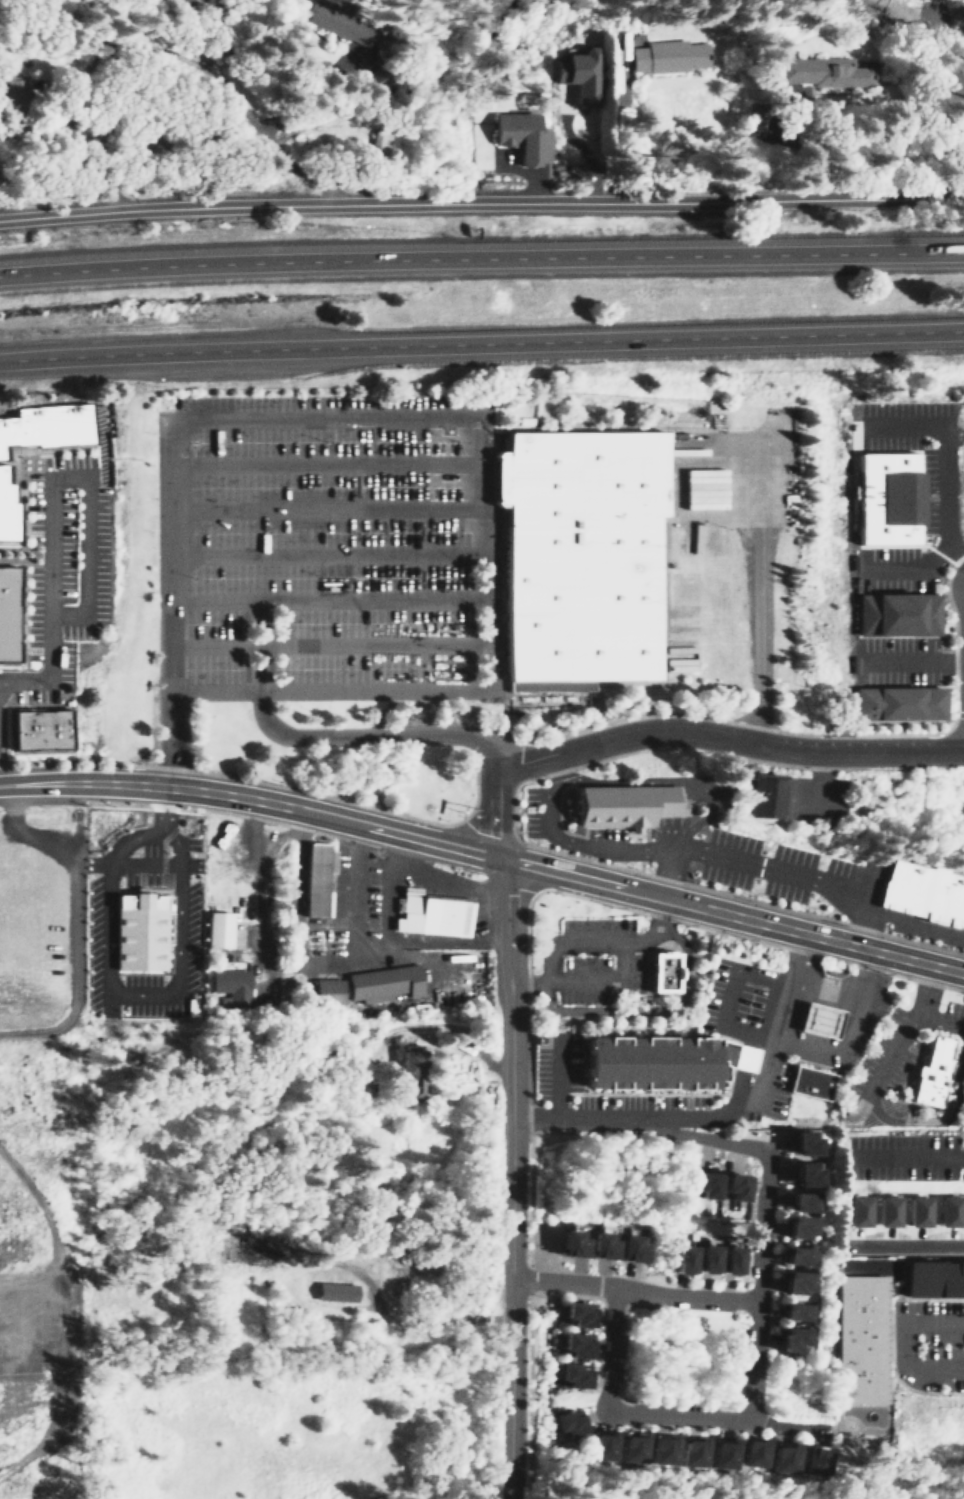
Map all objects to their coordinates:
building: (336, 20)
road: (162, 31)
building: (669, 55)
building: (825, 71)
building: (578, 74)
building: (15, 90)
building: (519, 135)
road: (481, 201)
road: (481, 255)
road: (481, 345)
road: (451, 416)
building: (42, 426)
road: (946, 454)
road: (321, 463)
road: (86, 476)
building: (887, 501)
road: (322, 508)
building: (6, 509)
parking lot: (316, 543)
road: (323, 552)
building: (576, 554)
road: (909, 567)
road: (755, 594)
road: (324, 597)
building: (9, 613)
building: (898, 615)
road: (910, 663)
road: (259, 672)
road: (48, 673)
building: (908, 702)
road: (374, 724)
building: (36, 729)
road: (727, 733)
road: (172, 744)
road: (557, 762)
road: (683, 784)
building: (764, 794)
road: (250, 798)
building: (884, 800)
building: (622, 803)
road: (495, 807)
road: (580, 846)
road: (794, 876)
building: (314, 877)
building: (919, 890)
road: (730, 914)
building: (433, 916)
road: (911, 921)
building: (138, 930)
building: (217, 930)
road: (654, 930)
road: (565, 944)
parking lot: (599, 962)
building: (661, 972)
building: (384, 985)
road: (608, 985)
building: (233, 986)
road: (527, 987)
building: (328, 990)
road: (110, 991)
road: (726, 997)
parking lot: (736, 1001)
building: (193, 1006)
road: (647, 1011)
building: (814, 1020)
gas station: (814, 1020)
road: (938, 1021)
road: (904, 1029)
parking lot: (554, 1060)
building: (656, 1060)
road: (505, 1066)
building: (412, 1069)
road: (766, 1073)
building: (929, 1073)
road: (557, 1077)
building: (806, 1083)
parking lot: (780, 1091)
road: (641, 1117)
road: (938, 1119)
building: (812, 1134)
building: (800, 1143)
parking lot: (920, 1157)
road: (923, 1157)
building: (813, 1165)
building: (804, 1175)
building: (716, 1176)
building: (745, 1179)
building: (703, 1185)
building: (732, 1187)
building: (810, 1194)
building: (800, 1203)
building: (855, 1211)
building: (884, 1211)
building: (915, 1211)
building: (945, 1212)
building: (805, 1221)
parking lot: (950, 1226)
road: (951, 1228)
building: (567, 1245)
building: (596, 1247)
building: (805, 1247)
building: (241, 1249)
building: (628, 1250)
building: (795, 1257)
building: (707, 1259)
building: (680, 1260)
building: (732, 1261)
building: (807, 1273)
building: (933, 1279)
building: (793, 1283)
road: (761, 1287)
road: (634, 1289)
building: (331, 1291)
road: (660, 1299)
building: (593, 1304)
building: (805, 1304)
building: (791, 1313)
building: (574, 1314)
building: (802, 1331)
building: (589, 1334)
parking lot: (939, 1337)
building: (860, 1338)
building: (790, 1341)
road: (902, 1344)
building: (573, 1345)
road: (690, 1350)
park: (683, 1356)
building: (587, 1366)
building: (571, 1375)
road: (509, 1388)
road: (688, 1412)
building: (579, 1415)
road: (654, 1415)
building: (567, 1422)
building: (610, 1440)
building: (642, 1442)
building: (672, 1443)
building: (702, 1446)
building: (632, 1448)
building: (731, 1448)
building: (760, 1449)
building: (662, 1450)
building: (693, 1453)
building: (792, 1453)
building: (821, 1455)

